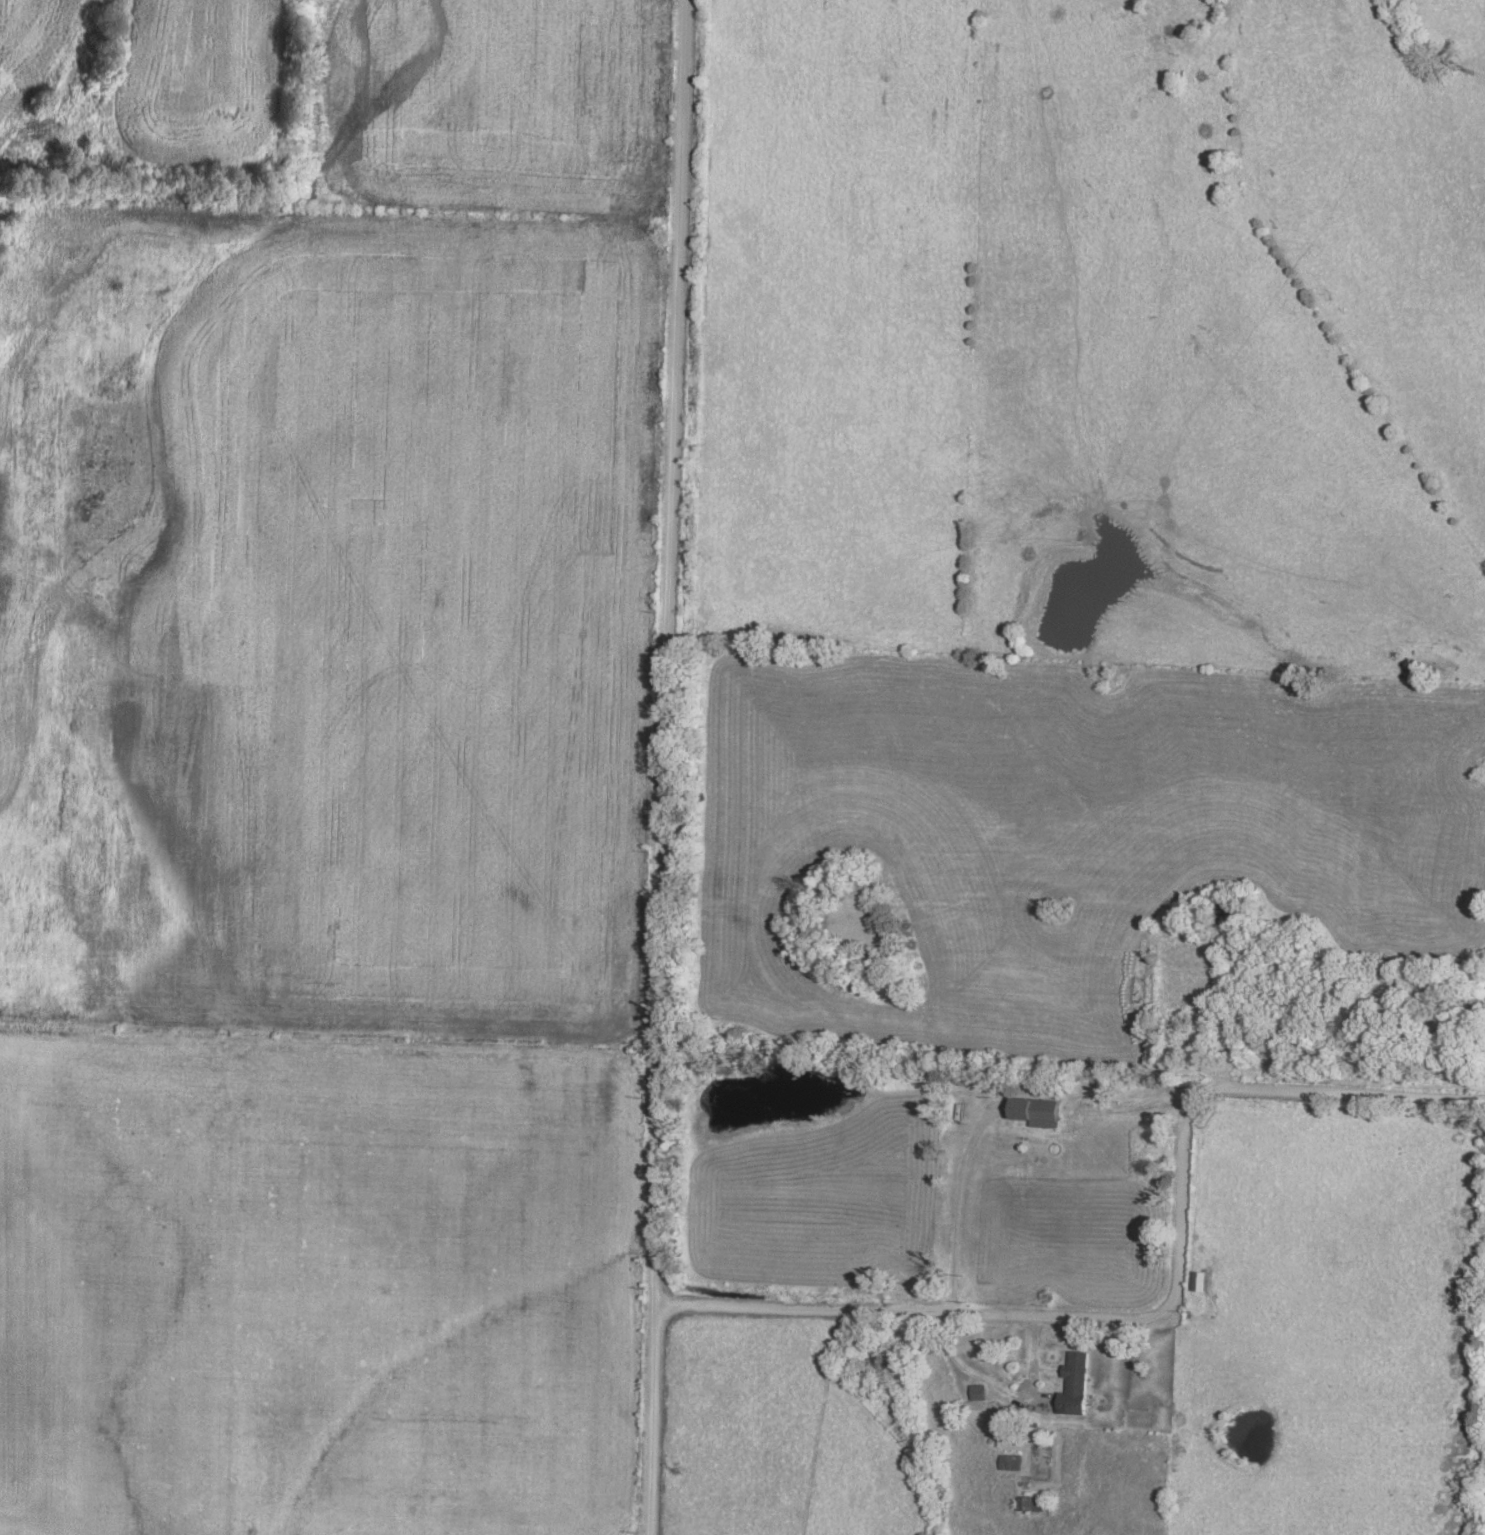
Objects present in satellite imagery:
road: (668, 767)
building: (1036, 1111)
road: (951, 1199)
building: (1202, 1280)
road: (1165, 1302)
building: (1076, 1384)
road: (1004, 1387)
building: (977, 1391)

